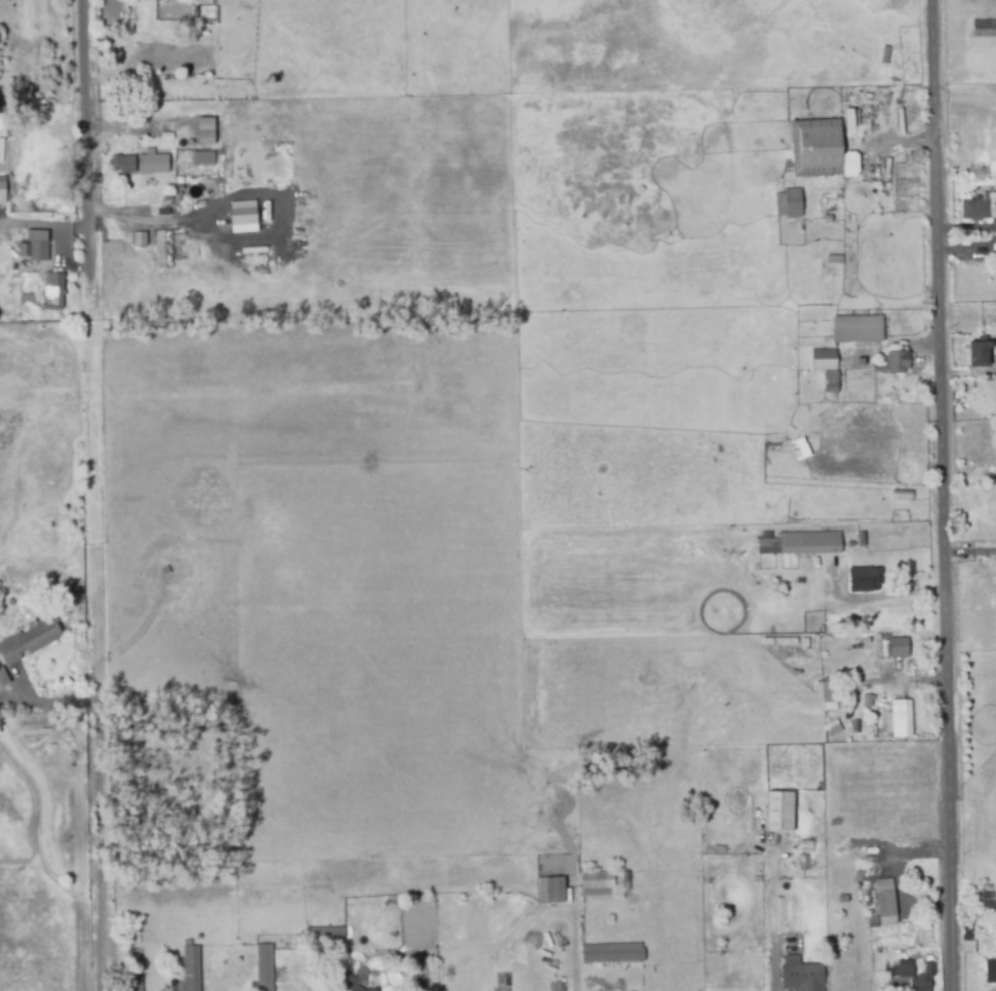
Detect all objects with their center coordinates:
building: (208, 9)
building: (983, 29)
building: (847, 123)
building: (203, 124)
building: (167, 138)
road: (895, 144)
building: (0, 149)
building: (814, 149)
building: (201, 158)
road: (89, 161)
building: (121, 165)
building: (153, 165)
building: (1, 189)
building: (787, 204)
building: (977, 208)
building: (161, 214)
building: (241, 216)
building: (825, 220)
road: (990, 234)
building: (138, 238)
building: (995, 241)
building: (35, 246)
building: (162, 252)
building: (836, 261)
building: (53, 293)
building: (860, 332)
building: (981, 353)
building: (821, 361)
building: (859, 363)
building: (891, 364)
road: (971, 371)
building: (829, 383)
building: (971, 402)
building: (798, 448)
building: (773, 475)
road: (949, 495)
building: (900, 497)
road: (99, 502)
building: (808, 545)
road: (973, 554)
building: (867, 582)
building: (822, 587)
road: (899, 595)
building: (778, 642)
building: (27, 643)
building: (897, 649)
building: (2, 680)
building: (828, 693)
building: (866, 701)
building: (898, 720)
building: (779, 813)
road: (104, 837)
building: (802, 860)
building: (623, 882)
building: (596, 885)
building: (881, 888)
building: (548, 892)
building: (885, 905)
building: (985, 907)
building: (872, 922)
road: (657, 924)
building: (323, 937)
building: (611, 954)
road: (777, 965)
building: (263, 968)
building: (190, 969)
building: (901, 970)
building: (990, 972)
building: (801, 977)
building: (922, 979)
building: (343, 983)
building: (132, 985)

